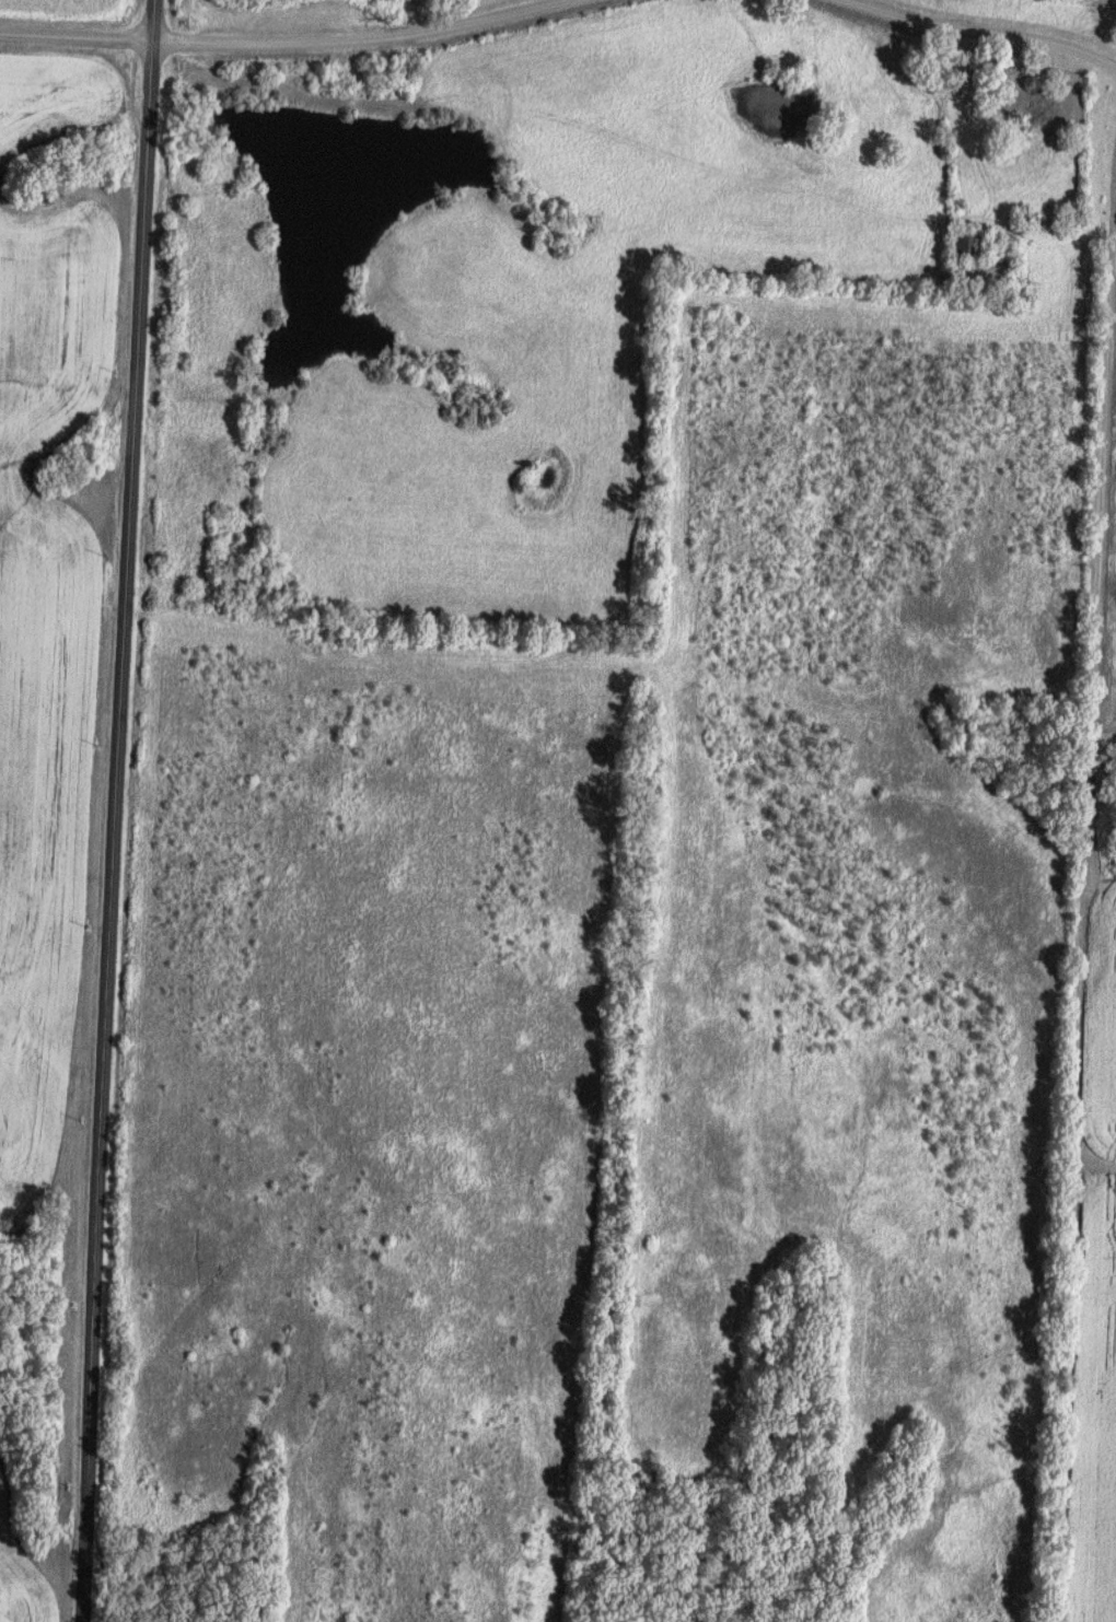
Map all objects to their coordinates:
road: (984, 28)
road: (283, 42)
road: (1049, 236)
building: (963, 245)
road: (1093, 686)
road: (115, 810)

